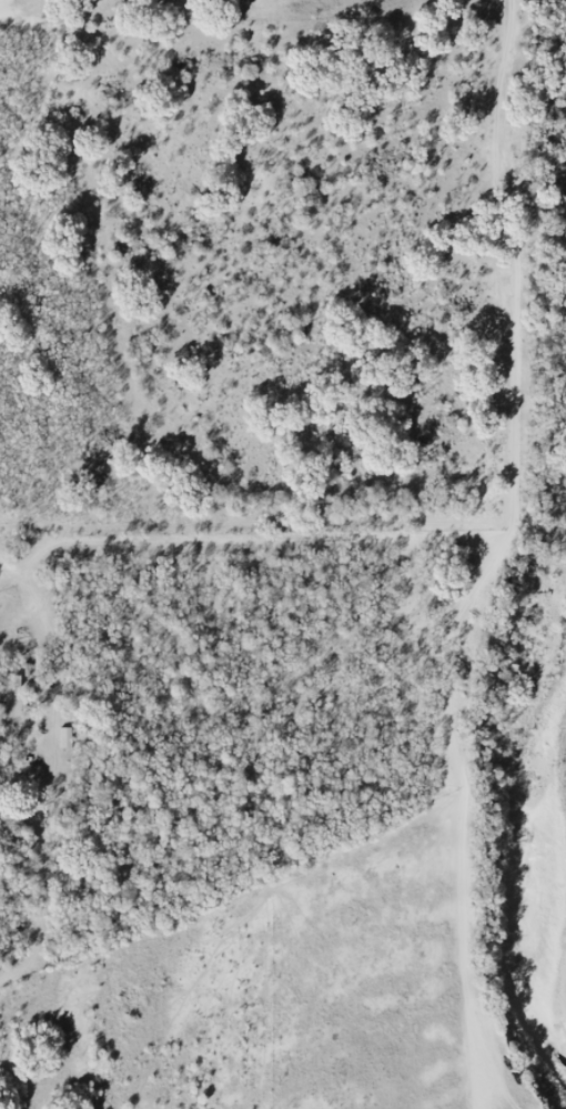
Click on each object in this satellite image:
road: (251, 534)
road: (487, 555)
road: (36, 608)
building: (38, 689)

